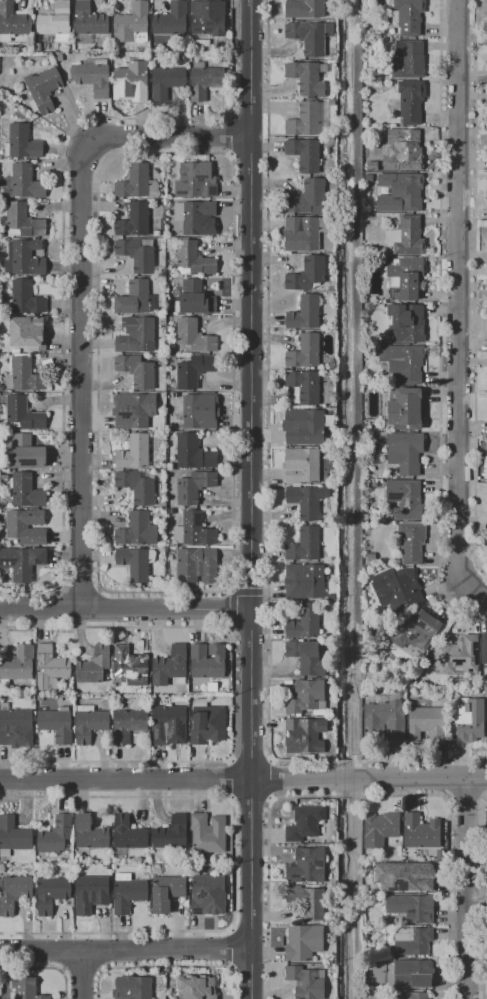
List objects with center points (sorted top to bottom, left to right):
rooftop solar panel: (198, 6)
building: (305, 8)
building: (408, 16)
building: (172, 21)
building: (206, 21)
building: (13, 22)
building: (57, 22)
building: (88, 23)
building: (133, 24)
building: (310, 36)
building: (225, 58)
building: (409, 59)
building: (228, 73)
building: (93, 77)
building: (308, 77)
building: (133, 80)
building: (204, 80)
building: (167, 82)
building: (43, 90)
building: (411, 100)
building: (305, 119)
road: (230, 136)
building: (22, 144)
building: (406, 148)
building: (305, 154)
road: (230, 160)
rooftop solar panel: (200, 178)
building: (196, 180)
building: (26, 182)
building: (138, 183)
rooftop solar panel: (212, 190)
rooftop solar panel: (180, 192)
building: (401, 192)
building: (310, 199)
building: (197, 217)
building: (23, 221)
building: (134, 221)
building: (304, 233)
building: (407, 236)
road: (63, 247)
building: (138, 254)
building: (25, 258)
building: (193, 259)
building: (307, 274)
building: (405, 278)
road: (476, 288)
road: (80, 294)
building: (26, 298)
building: (137, 298)
building: (195, 299)
road: (458, 299)
building: (305, 314)
building: (406, 323)
road: (440, 324)
building: (28, 333)
building: (137, 335)
building: (194, 336)
building: (305, 351)
building: (404, 362)
building: (137, 371)
building: (194, 371)
building: (25, 375)
building: (1, 387)
building: (304, 387)
building: (405, 410)
building: (134, 411)
building: (200, 411)
building: (23, 414)
building: (304, 426)
building: (27, 452)
building: (405, 452)
building: (134, 453)
building: (193, 453)
building: (302, 465)
building: (3, 478)
building: (138, 486)
building: (194, 487)
road: (268, 487)
building: (26, 491)
rooftop solar panel: (394, 496)
road: (251, 499)
building: (406, 499)
building: (307, 501)
building: (365, 517)
rooftop solar panel: (197, 519)
building: (26, 527)
building: (137, 530)
building: (194, 530)
building: (410, 542)
building: (305, 545)
building: (371, 557)
building: (22, 562)
building: (136, 562)
building: (197, 565)
building: (304, 581)
road: (79, 588)
road: (249, 589)
building: (396, 590)
road: (473, 598)
road: (125, 609)
building: (305, 622)
rooftop solar panel: (419, 624)
building: (416, 630)
rooftop solar panel: (413, 636)
building: (484, 647)
building: (457, 655)
building: (308, 656)
building: (207, 661)
rooftop solar panel: (458, 662)
building: (17, 665)
building: (94, 666)
building: (170, 666)
building: (130, 667)
building: (50, 668)
rooftop solar panel: (471, 671)
road: (234, 694)
building: (307, 698)
building: (469, 719)
building: (383, 720)
building: (89, 723)
building: (208, 723)
building: (56, 724)
building: (427, 724)
building: (128, 725)
building: (169, 725)
building: (16, 728)
rooftop solar panel: (171, 731)
rooftop solar panel: (182, 731)
rooftop solar panel: (156, 733)
building: (305, 736)
road: (251, 759)
road: (485, 775)
road: (272, 779)
road: (126, 780)
road: (231, 780)
road: (369, 780)
road: (447, 780)
road: (359, 795)
road: (466, 799)
road: (251, 800)
building: (304, 823)
building: (380, 829)
building: (421, 832)
building: (171, 833)
building: (208, 833)
building: (90, 834)
building: (128, 834)
building: (13, 835)
building: (55, 836)
road: (234, 864)
rooftop solar panel: (318, 864)
building: (307, 866)
building: (367, 867)
building: (147, 869)
rooftop solar panel: (295, 876)
building: (414, 877)
building: (165, 890)
road: (467, 890)
building: (52, 893)
building: (127, 893)
building: (14, 894)
building: (91, 894)
building: (208, 896)
road: (483, 899)
building: (307, 901)
building: (412, 908)
building: (412, 941)
building: (303, 942)
road: (231, 948)
road: (125, 950)
road: (167, 966)
road: (45, 968)
road: (82, 972)
road: (82, 974)
building: (413, 974)
building: (307, 982)
building: (196, 987)
building: (25, 988)
building: (132, 988)
building: (411, 995)

